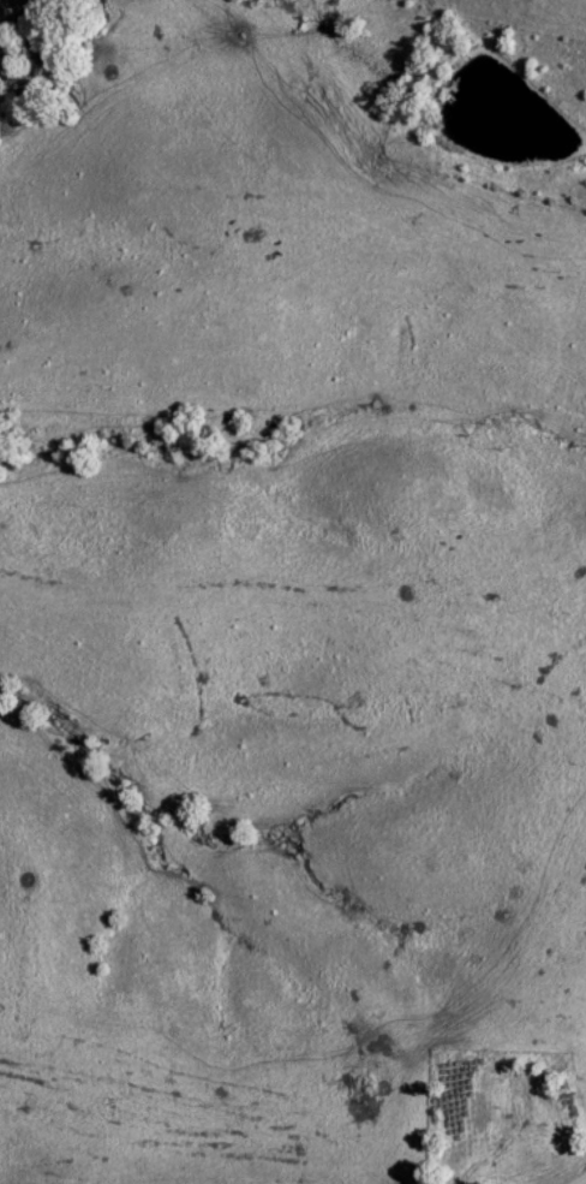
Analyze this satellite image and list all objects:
road: (575, 1177)

